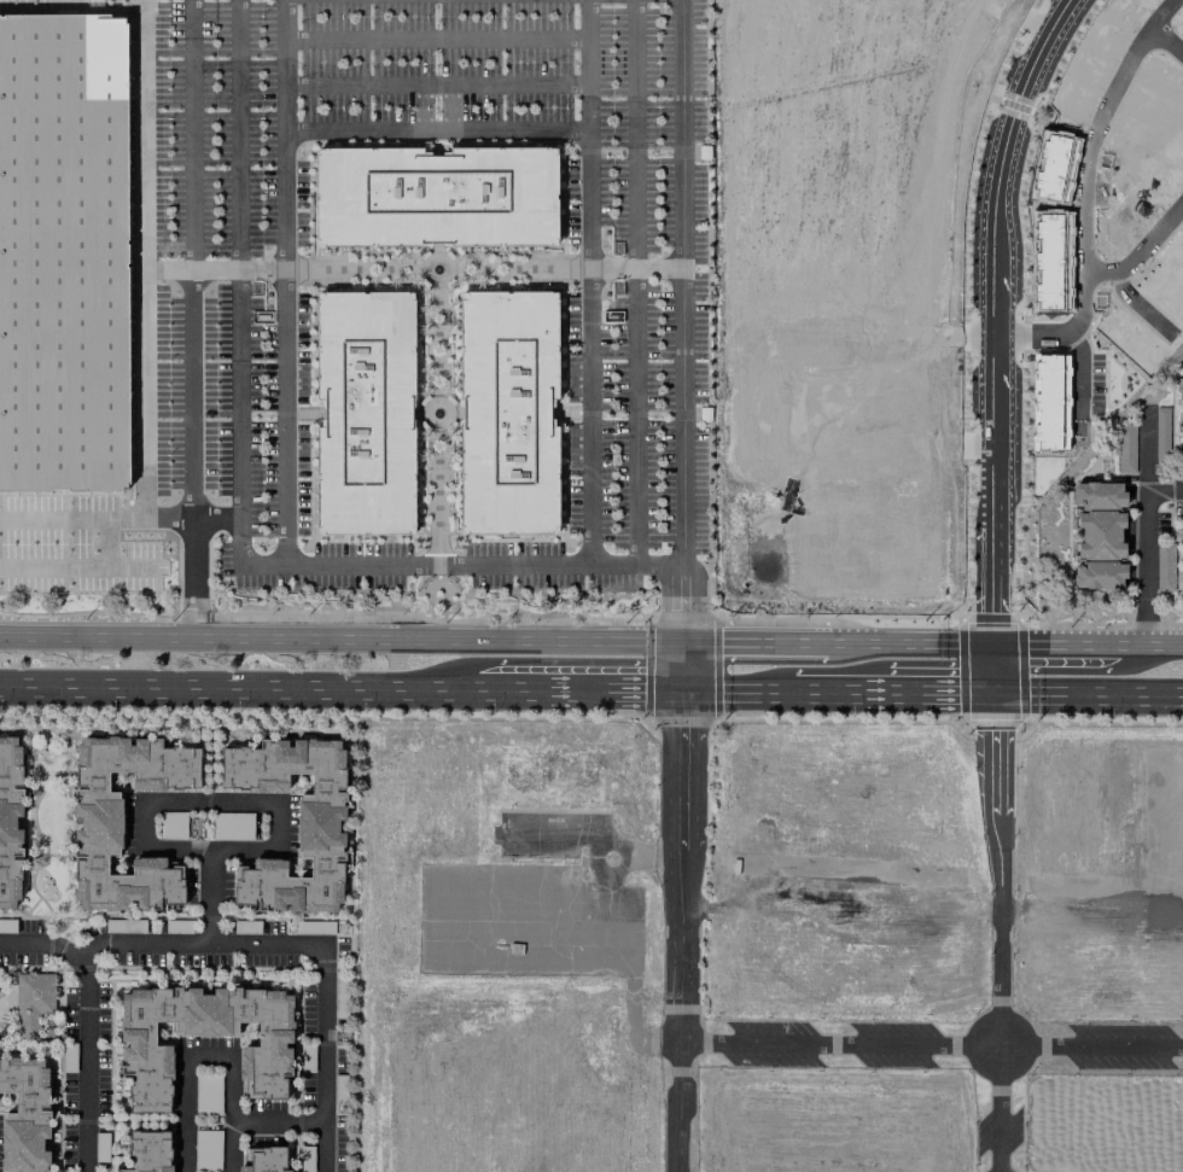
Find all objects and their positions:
road: (1165, 14)
road: (437, 37)
road: (437, 84)
road: (436, 130)
road: (142, 134)
road: (191, 134)
road: (235, 134)
road: (284, 134)
road: (1085, 191)
building: (435, 196)
building: (64, 240)
road: (1142, 255)
road: (429, 258)
road: (634, 267)
road: (512, 268)
road: (167, 269)
road: (360, 269)
road: (588, 281)
road: (635, 281)
road: (681, 282)
road: (1141, 305)
road: (1000, 339)
road: (436, 342)
building: (1181, 365)
building: (1181, 385)
parking lot: (635, 400)
road: (429, 402)
road: (191, 406)
building: (507, 412)
building: (363, 413)
road: (284, 416)
building: (1181, 424)
road: (1171, 425)
building: (1125, 448)
building: (1181, 448)
building: (1103, 466)
road: (1102, 472)
building: (1182, 474)
road: (1164, 490)
road: (436, 501)
road: (1144, 501)
building: (1181, 506)
road: (95, 515)
road: (215, 518)
building: (1097, 535)
building: (1182, 536)
road: (311, 565)
building: (1164, 567)
building: (1182, 577)
road: (436, 578)
road: (450, 589)
road: (430, 600)
road: (443, 600)
road: (456, 606)
road: (1144, 622)
road: (682, 628)
road: (340, 637)
road: (750, 642)
road: (823, 643)
road: (1007, 643)
road: (273, 689)
road: (616, 690)
traffic signals: (684, 690)
road: (933, 692)
road: (260, 805)
building: (99, 811)
building: (10, 821)
building: (317, 826)
road: (684, 931)
road: (1001, 932)
road: (42, 941)
road: (319, 944)
building: (33, 1002)
road: (933, 1045)
road: (84, 1057)
building: (146, 1060)
road: (185, 1060)
building: (25, 1115)
road: (279, 1125)
road: (232, 1148)
building: (150, 1151)
building: (264, 1160)

